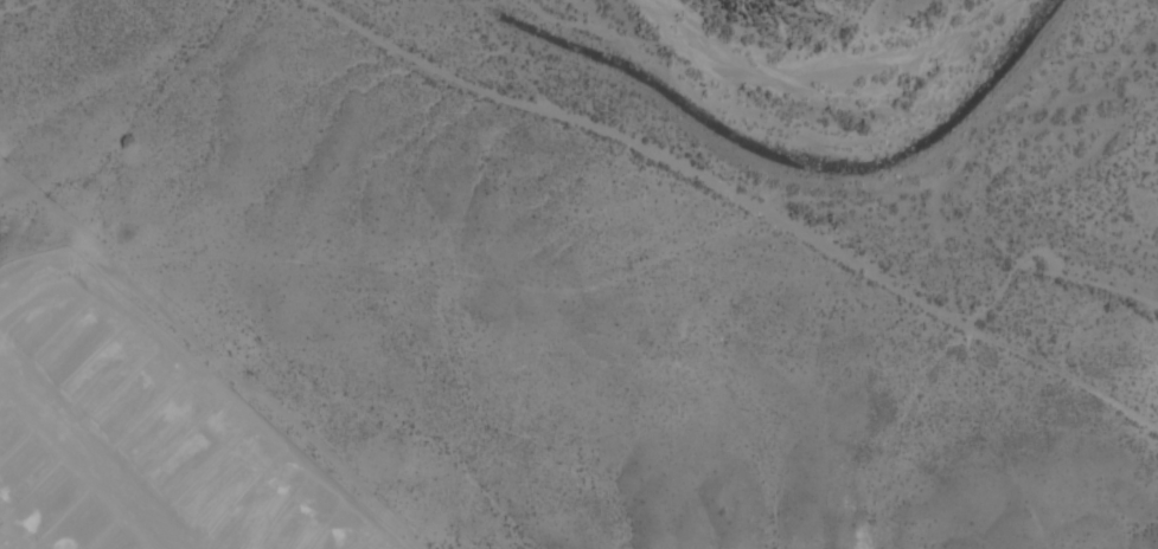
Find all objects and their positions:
road: (90, 457)

